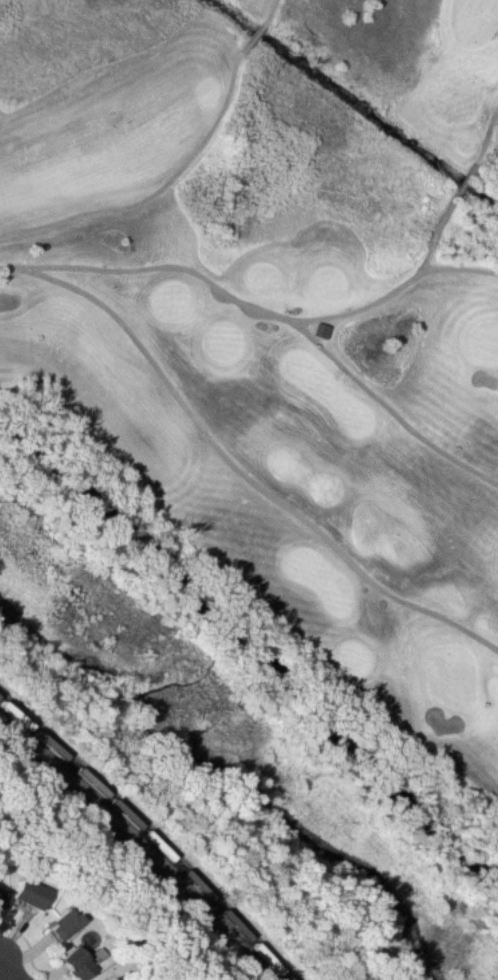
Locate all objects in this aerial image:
road: (275, 10)
road: (256, 38)
road: (488, 137)
road: (158, 194)
road: (453, 204)
road: (460, 270)
road: (228, 296)
building: (321, 332)
park: (269, 348)
road: (388, 409)
road: (244, 477)
railway: (148, 835)
railway: (139, 847)
building: (31, 897)
building: (0, 902)
building: (61, 927)
road: (0, 959)
building: (80, 964)
road: (11, 970)
building: (111, 979)

